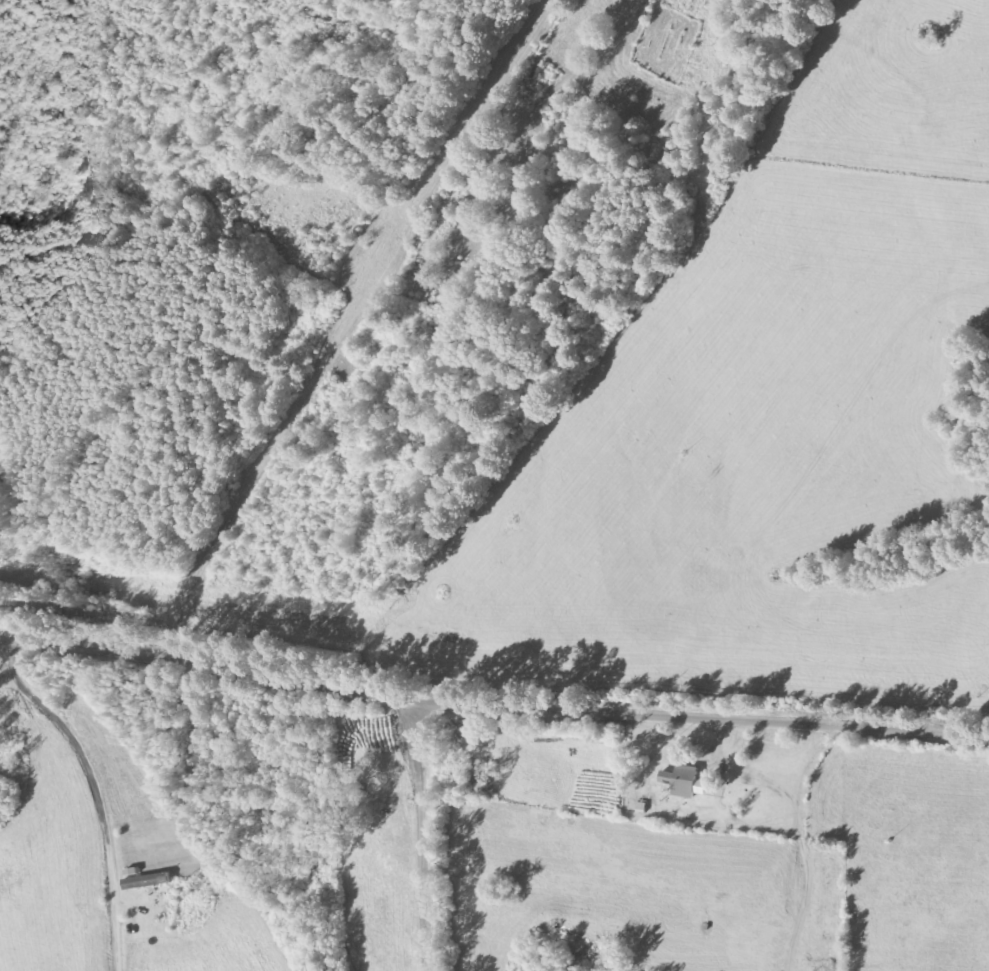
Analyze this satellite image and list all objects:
road: (518, 359)
road: (491, 719)
building: (681, 780)
road: (470, 831)
building: (146, 880)

